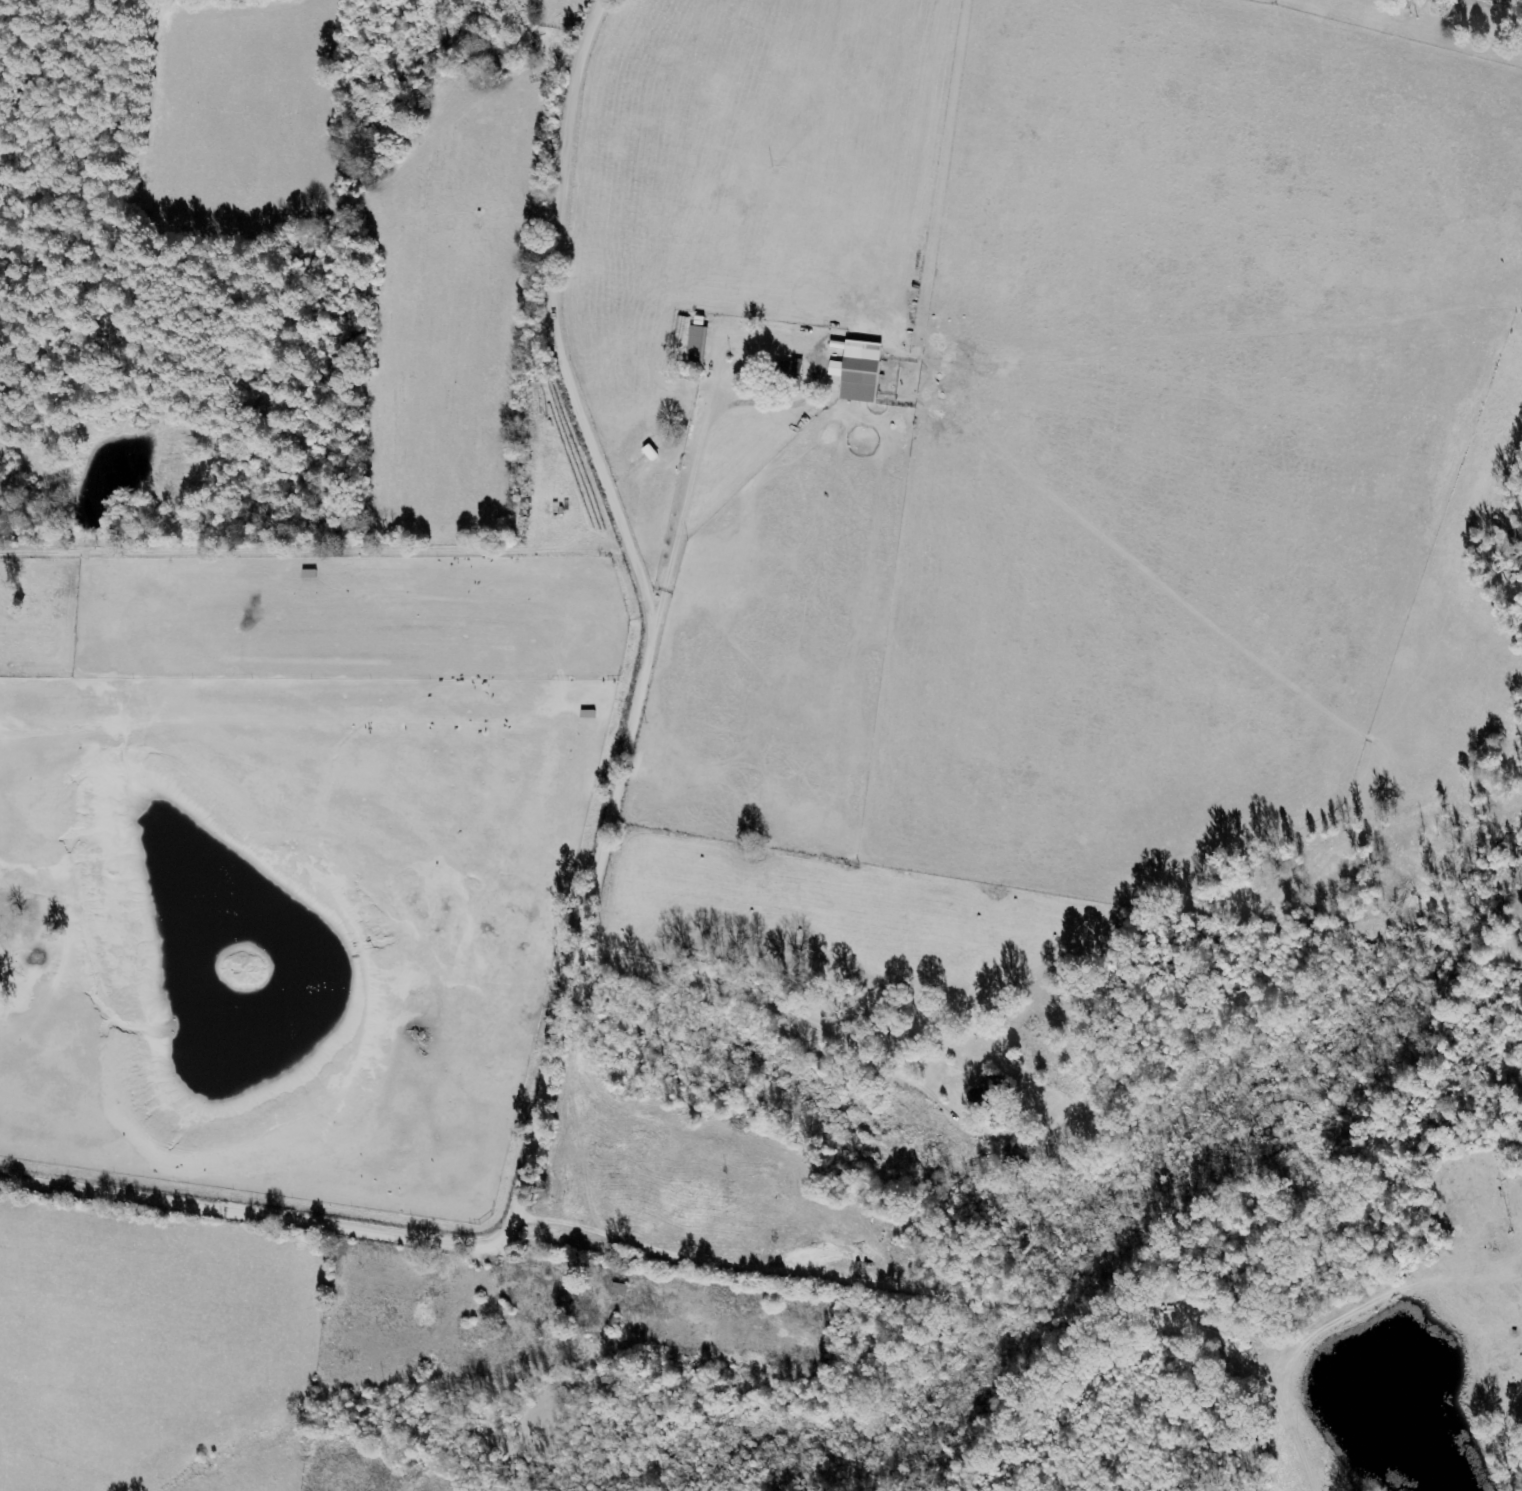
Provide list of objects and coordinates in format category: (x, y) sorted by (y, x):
building: (700, 345)
building: (799, 367)
building: (863, 372)
road: (704, 418)
road: (597, 868)
road: (792, 904)
road: (599, 1216)

